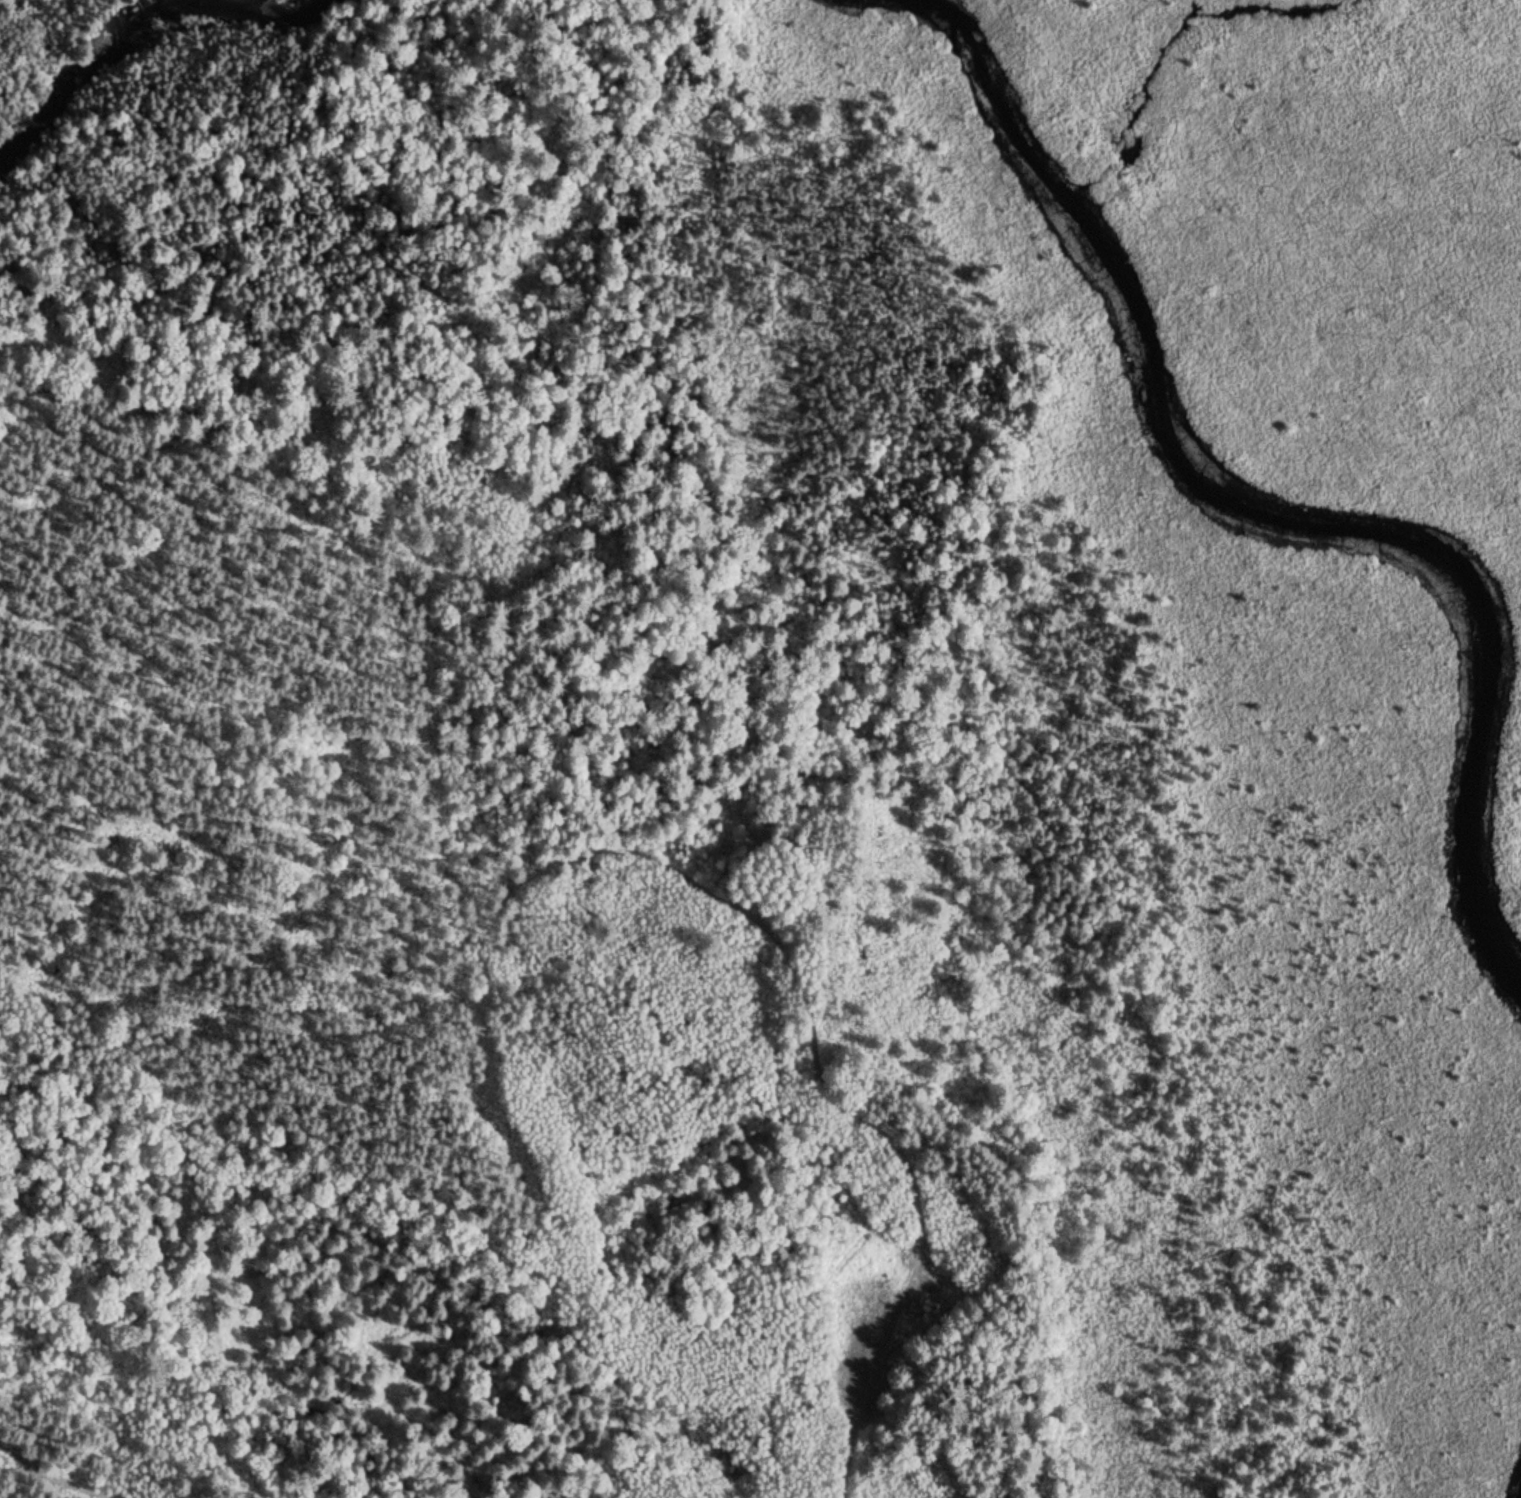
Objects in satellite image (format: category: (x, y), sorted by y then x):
road: (61, 1467)

